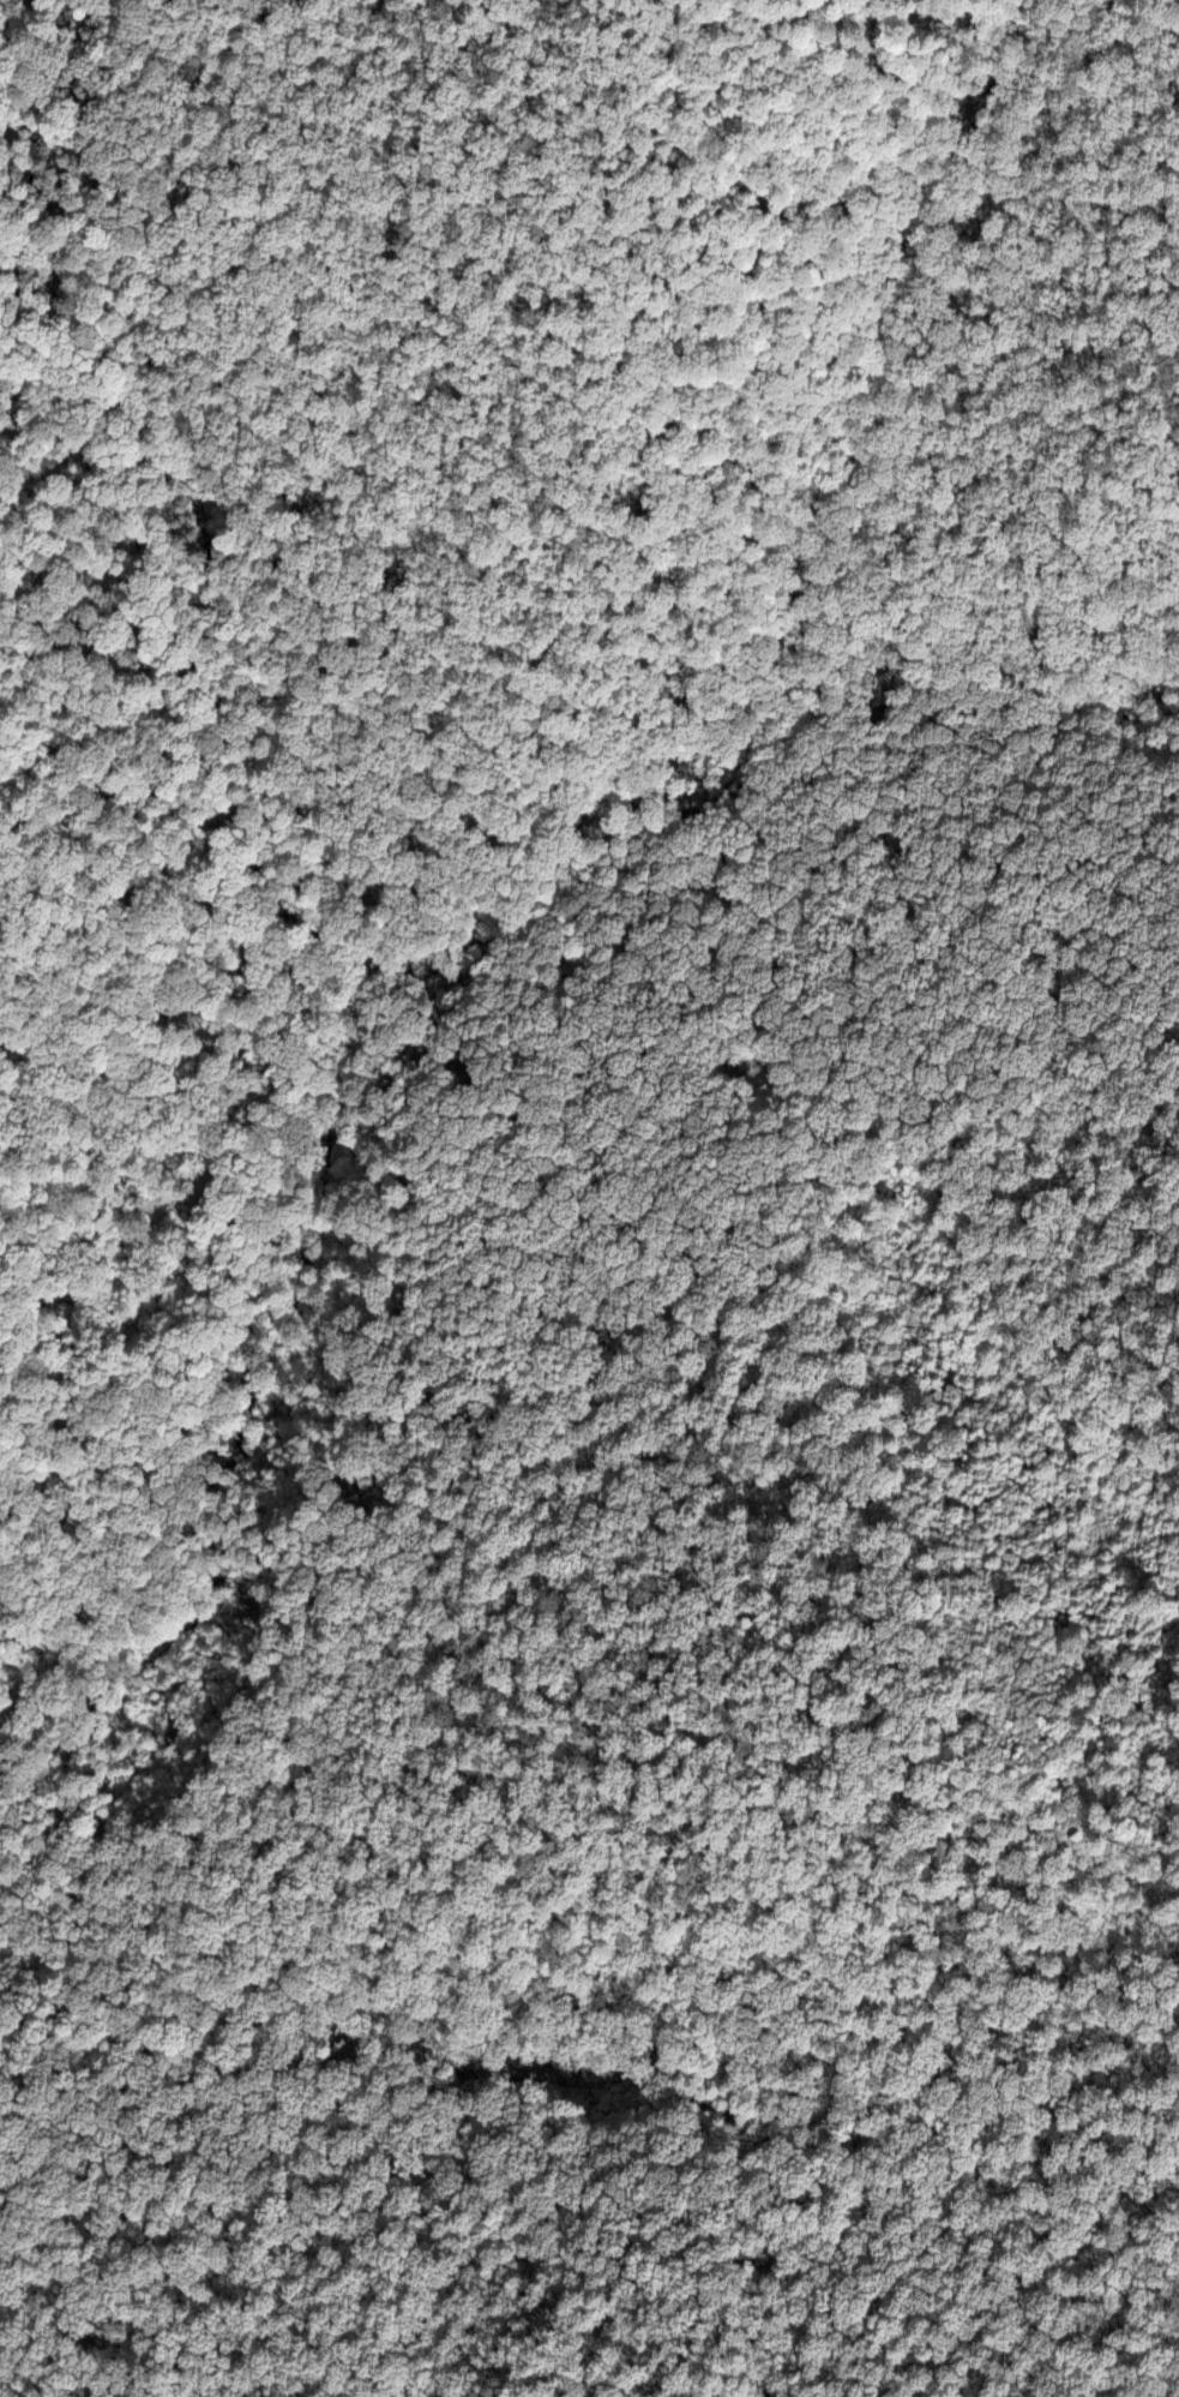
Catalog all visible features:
road: (251, 1043)
road: (1174, 2391)

